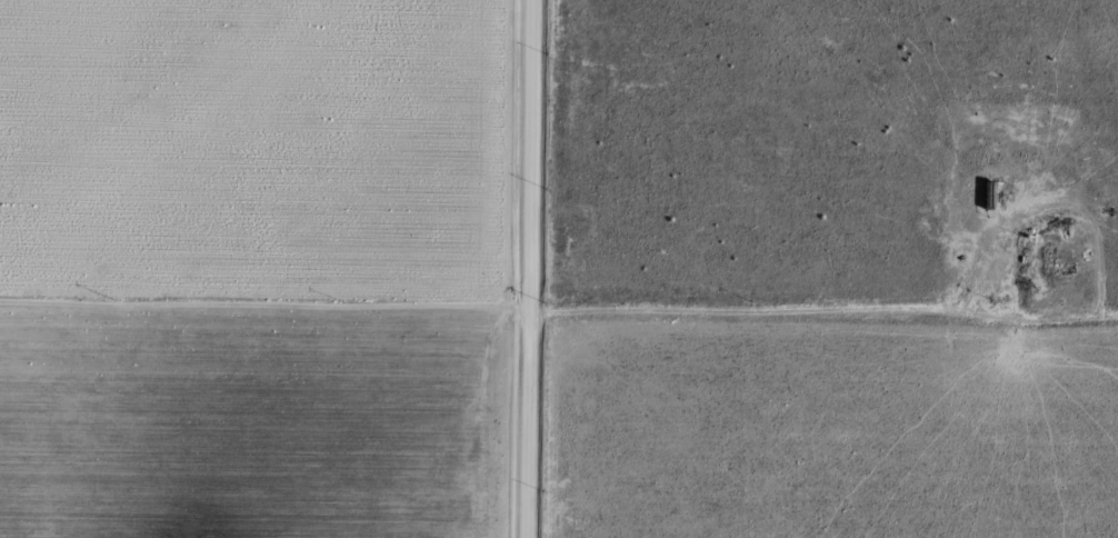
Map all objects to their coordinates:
road: (512, 268)
road: (559, 321)

